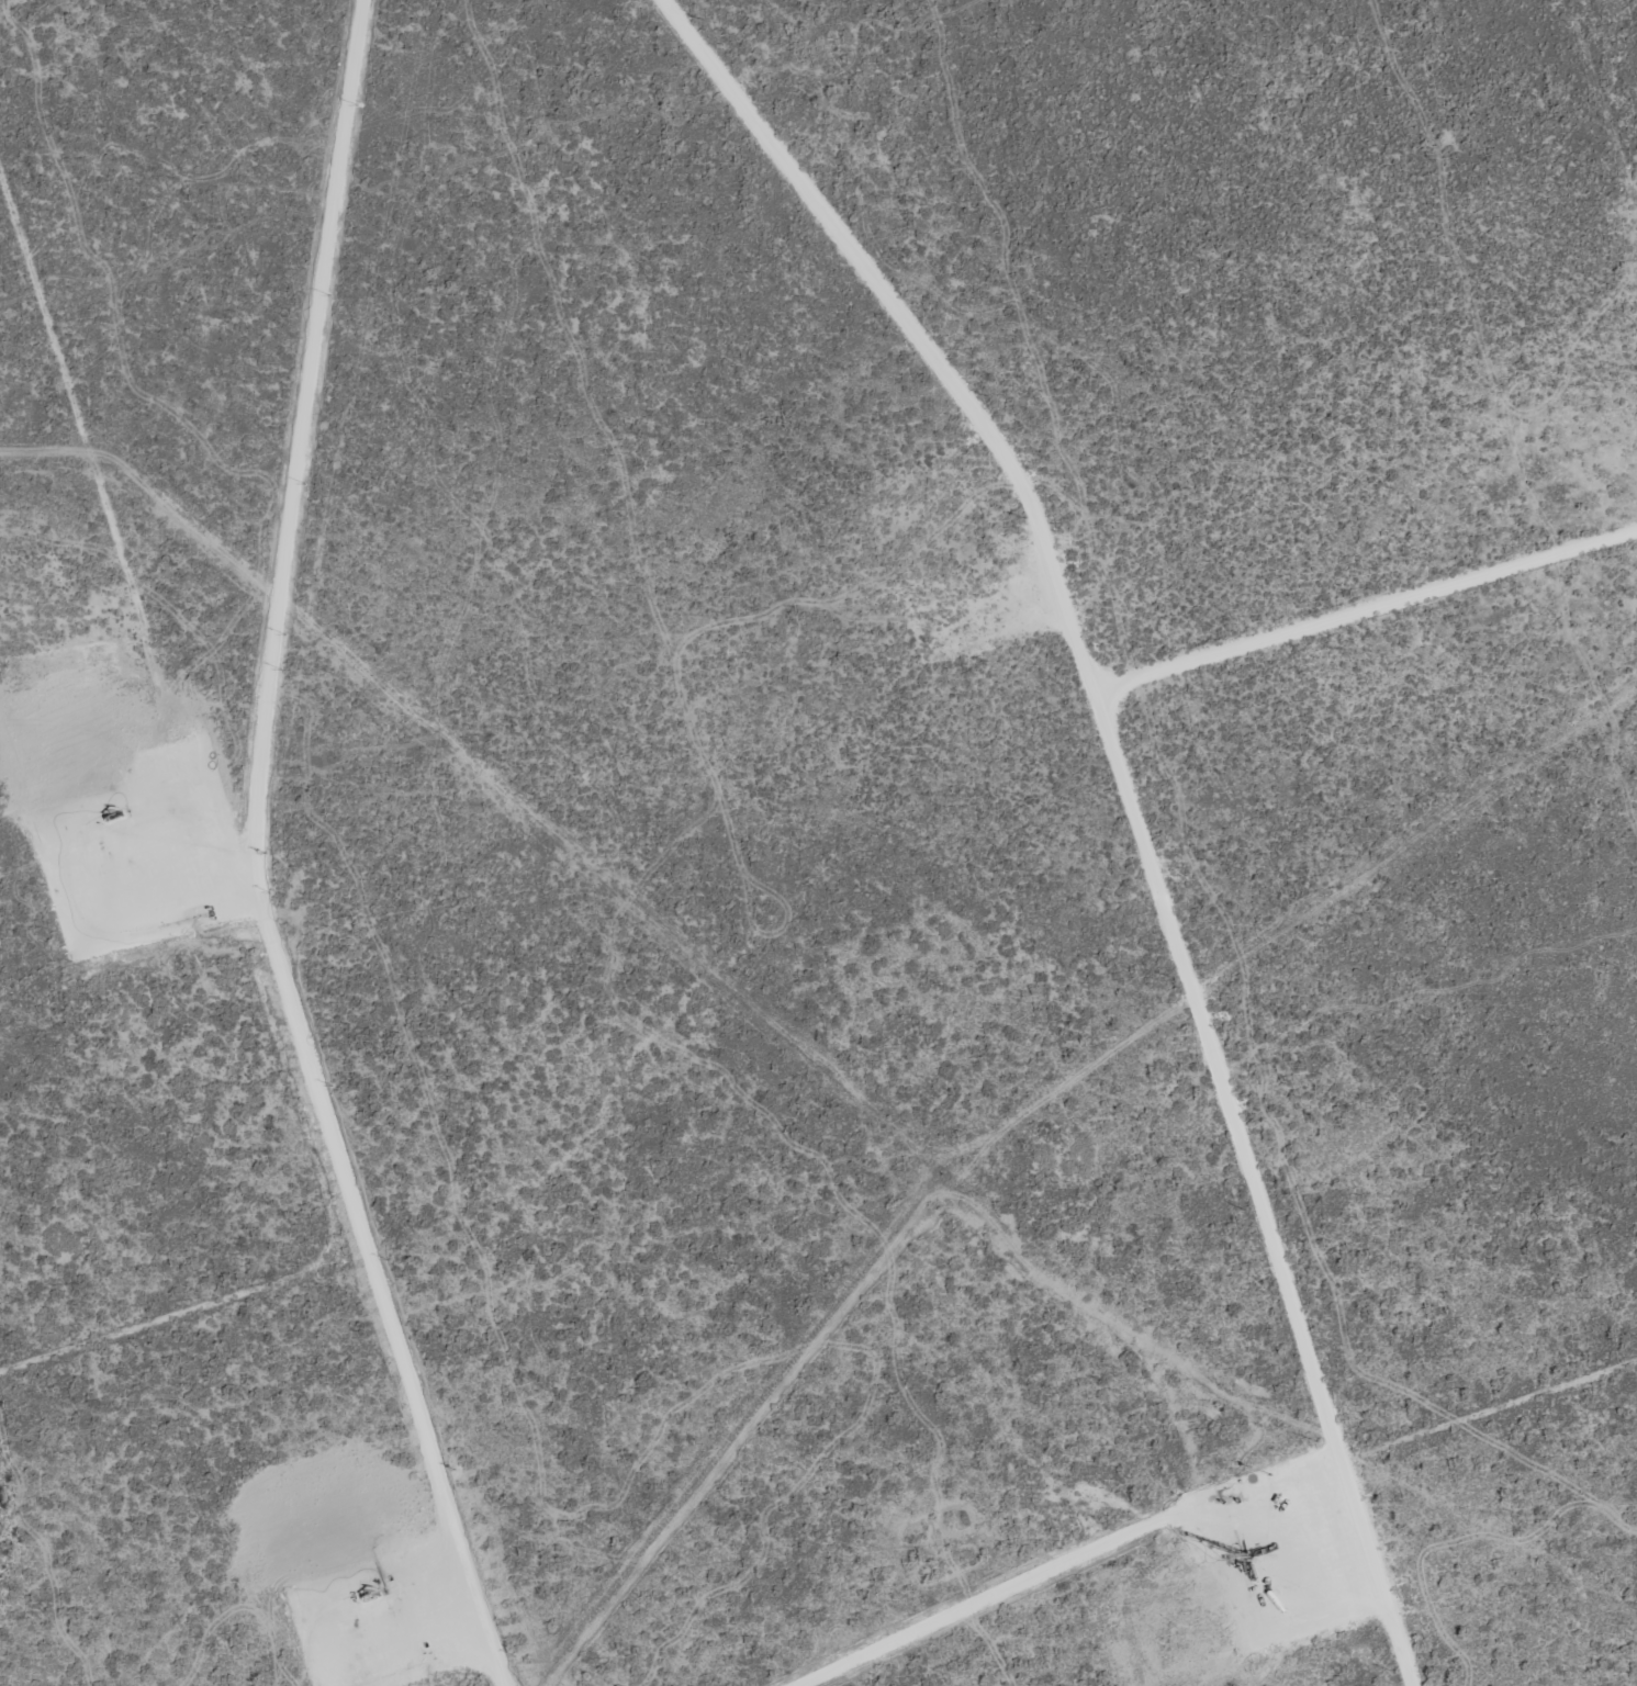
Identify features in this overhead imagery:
road: (1141, 798)
road: (247, 840)
road: (1504, 1417)

